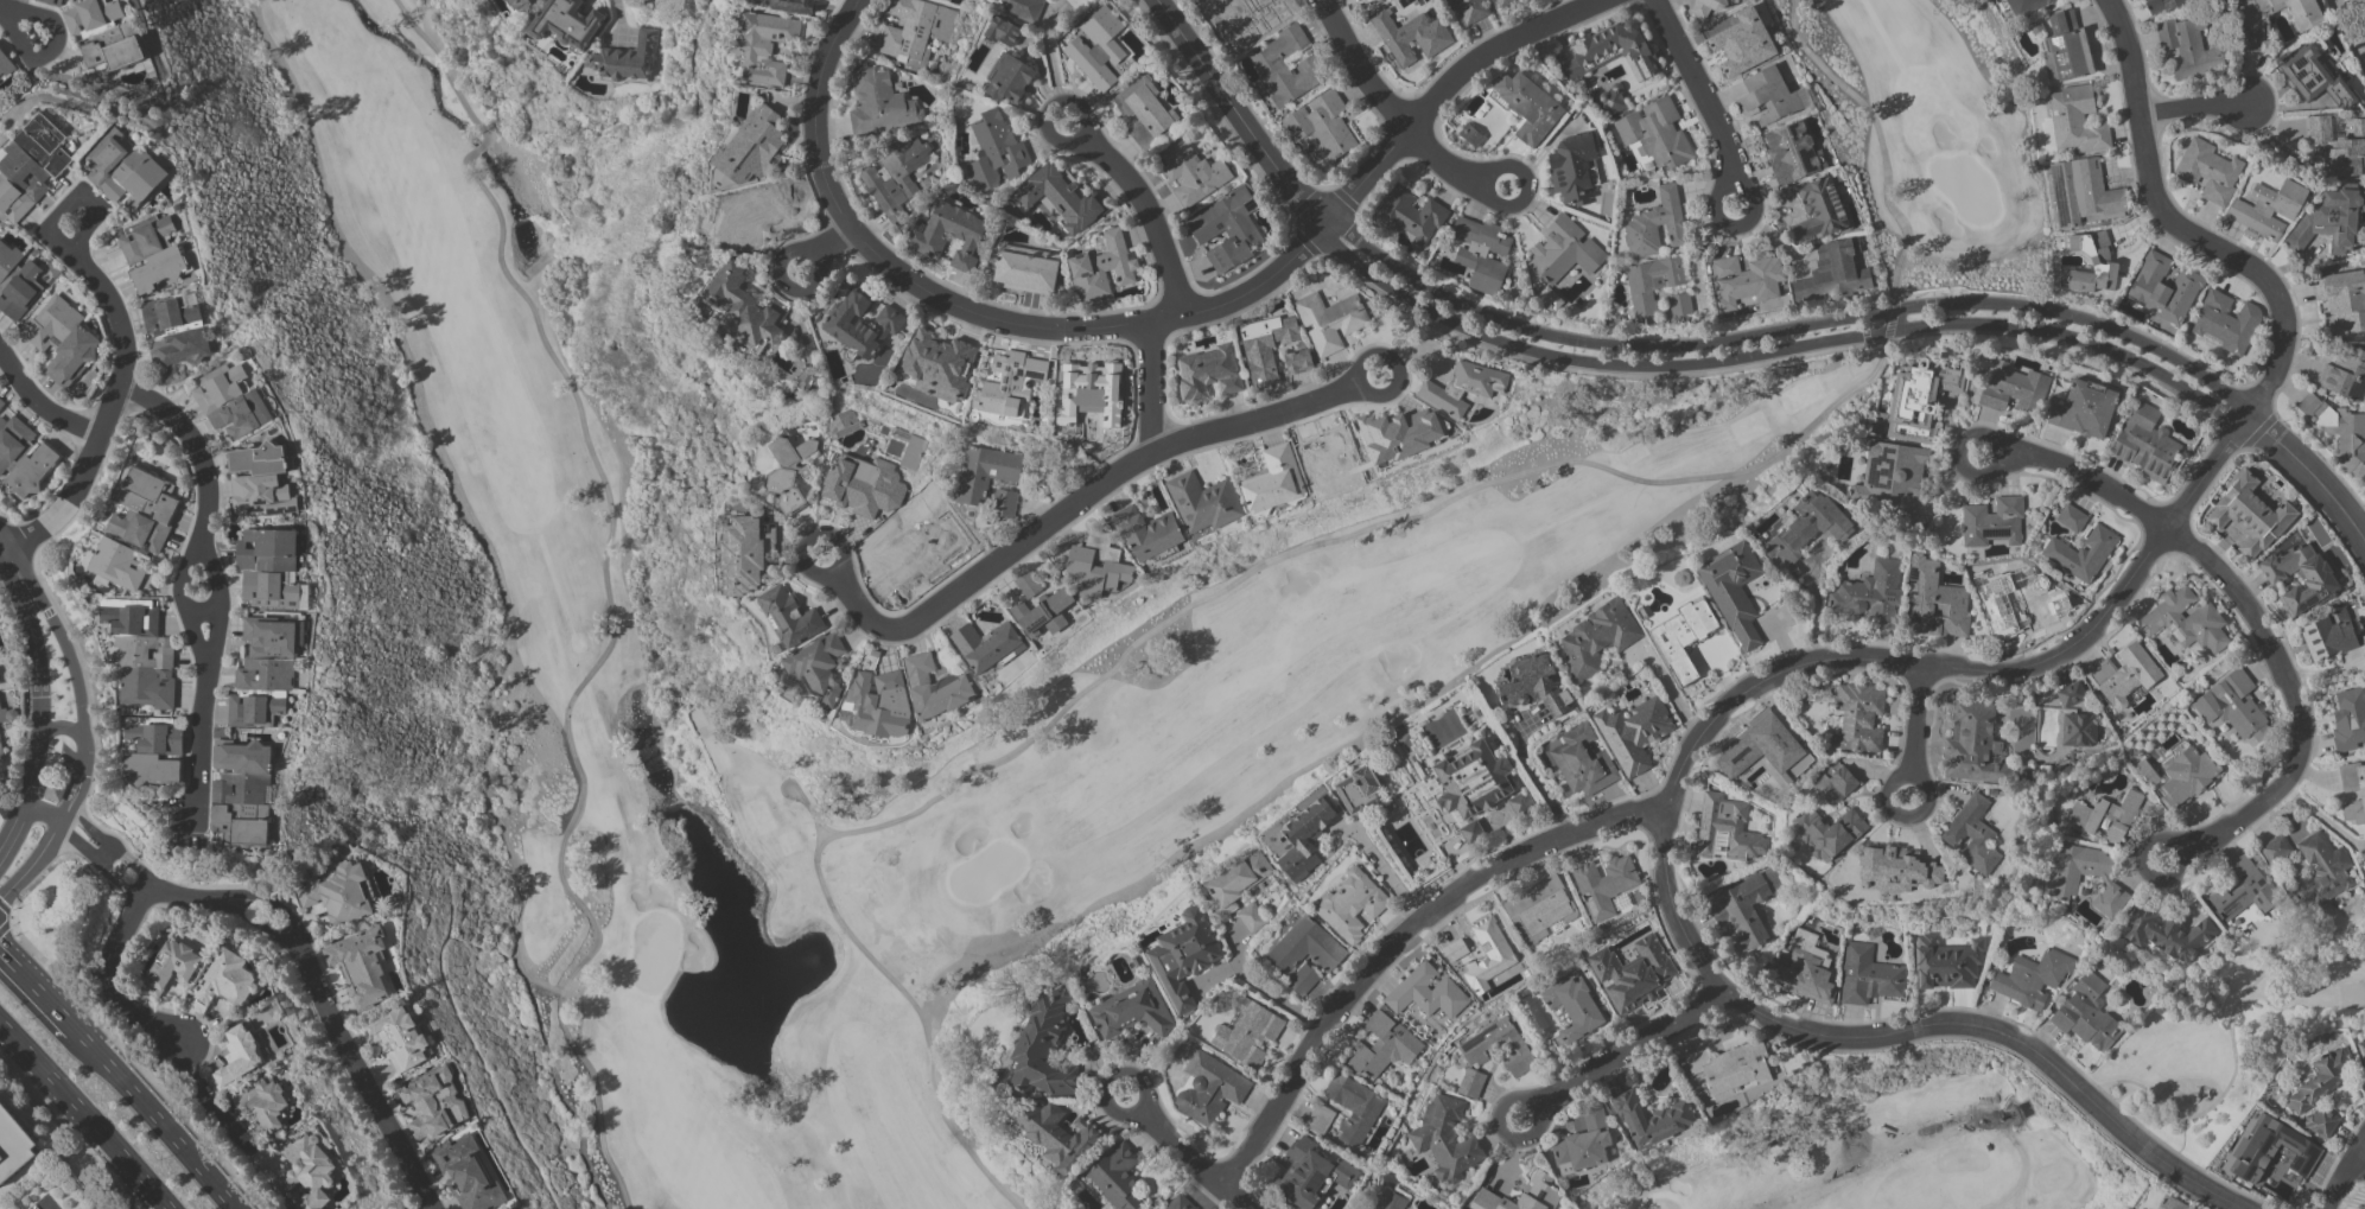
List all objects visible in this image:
building: (821, 0)
building: (1369, 0)
building: (55, 1)
building: (1502, 1)
building: (521, 4)
building: (794, 5)
building: (2159, 5)
building: (2027, 6)
building: (1024, 7)
building: (1705, 7)
building: (1469, 9)
building: (2289, 9)
road: (8, 14)
road: (18, 20)
building: (567, 21)
park: (2352, 24)
building: (915, 30)
building: (1004, 31)
building: (104, 32)
building: (1410, 34)
building: (1742, 42)
building: (765, 44)
building: (2067, 45)
building: (1098, 46)
building: (2188, 47)
building: (1614, 50)
building: (627, 57)
building: (5, 66)
road: (445, 68)
building: (1252, 74)
building: (2313, 76)
building: (1009, 77)
road: (1699, 88)
building: (1770, 96)
building: (880, 103)
road: (1396, 104)
building: (1528, 106)
road: (2193, 108)
building: (1144, 109)
road: (1049, 110)
road: (1242, 112)
road: (821, 117)
building: (2075, 120)
building: (1322, 123)
building: (1655, 132)
road: (1876, 132)
building: (2047, 133)
building: (1470, 134)
building: (2338, 144)
road: (481, 145)
building: (751, 145)
building: (994, 149)
building: (1791, 151)
building: (1572, 167)
building: (123, 170)
building: (2208, 170)
building: (1193, 173)
building: (896, 176)
road: (1488, 180)
road: (1736, 180)
building: (2091, 192)
building: (1058, 198)
road: (71, 205)
building: (1818, 209)
building: (2267, 209)
road: (1149, 215)
building: (1411, 215)
building: (2331, 218)
building: (1655, 224)
building: (1226, 229)
building: (951, 234)
road: (835, 246)
building: (1564, 249)
building: (152, 253)
building: (1481, 253)
road: (818, 255)
building: (7, 260)
building: (2092, 266)
building: (1102, 267)
building: (1833, 272)
building: (1744, 279)
road: (1267, 282)
building: (1652, 284)
building: (2162, 287)
building: (20, 289)
building: (2344, 299)
building: (1679, 305)
building: (744, 307)
building: (172, 313)
building: (1330, 320)
building: (2226, 322)
building: (862, 323)
road: (1787, 329)
building: (62, 338)
building: (1266, 345)
road: (1773, 349)
building: (179, 351)
building: (1298, 359)
building: (940, 364)
road: (1399, 368)
building: (1207, 371)
building: (2346, 371)
building: (809, 376)
building: (1009, 382)
building: (1462, 386)
road: (1149, 388)
building: (2013, 388)
building: (1091, 392)
building: (1918, 397)
building: (231, 401)
road: (43, 403)
building: (2084, 408)
road: (112, 409)
building: (840, 420)
building: (2339, 431)
building: (1398, 434)
building: (12, 438)
building: (2145, 441)
building: (913, 452)
road: (1997, 454)
building: (32, 470)
building: (789, 470)
building: (985, 471)
road: (2310, 472)
building: (1892, 475)
building: (1273, 479)
building: (259, 481)
building: (864, 484)
road: (1074, 501)
building: (1004, 502)
building: (1203, 502)
building: (144, 509)
building: (2246, 516)
building: (2071, 517)
building: (1992, 521)
building: (1807, 528)
road: (2164, 529)
building: (1147, 532)
road: (1344, 536)
road: (812, 540)
road: (4, 549)
building: (746, 553)
building: (2080, 553)
building: (116, 564)
building: (1098, 565)
building: (271, 568)
building: (2300, 575)
road: (212, 577)
building: (1028, 584)
building: (1733, 590)
park: (1371, 593)
building: (1869, 593)
road: (183, 599)
building: (2058, 599)
building: (1933, 600)
building: (1998, 606)
road: (201, 609)
building: (1043, 613)
road: (2251, 615)
building: (789, 616)
building: (2186, 621)
building: (2331, 635)
building: (1683, 637)
building: (1594, 638)
building: (987, 644)
building: (141, 653)
building: (819, 669)
building: (263, 672)
building: (2123, 673)
road: (585, 677)
road: (40, 679)
road: (76, 680)
building: (935, 686)
building: (1533, 686)
building: (2071, 693)
building: (876, 702)
building: (2232, 706)
building: (7, 713)
building: (1858, 717)
building: (2350, 718)
road: (1919, 720)
road: (64, 725)
building: (2078, 728)
building: (1633, 732)
building: (1973, 744)
building: (1761, 746)
building: (153, 752)
building: (0, 755)
building: (1583, 761)
building: (2145, 771)
building: (2187, 775)
road: (1532, 776)
road: (1912, 778)
building: (1473, 780)
building: (1835, 783)
building: (1358, 787)
building: (2353, 790)
building: (242, 791)
building: (1520, 801)
building: (2104, 816)
road: (2321, 819)
road: (13, 829)
building: (1727, 829)
building: (1827, 831)
building: (1473, 832)
building: (1971, 834)
building: (1299, 836)
building: (2275, 847)
road: (2180, 850)
road: (34, 864)
building: (1897, 867)
road: (1385, 872)
building: (1235, 880)
building: (2061, 882)
building: (1604, 883)
building: (2243, 889)
building: (339, 893)
road: (1666, 903)
building: (1350, 904)
building: (1540, 906)
building: (1746, 909)
building: (1251, 916)
building: (2167, 934)
road: (291, 937)
road: (1399, 937)
building: (1305, 947)
building: (1454, 949)
building: (1488, 954)
building: (1183, 955)
building: (1946, 962)
building: (172, 966)
building: (361, 966)
building: (1804, 966)
building: (1632, 972)
road: (106, 974)
building: (1868, 975)
building: (2032, 978)
building: (225, 980)
building: (1304, 981)
road: (42, 987)
road: (899, 988)
road: (1271, 991)
building: (1426, 992)
building: (1572, 1006)
building: (1131, 1010)
building: (2087, 1013)
building: (1247, 1031)
road: (2000, 1032)
building: (400, 1037)
road: (1617, 1041)
building: (1384, 1045)
building: (1498, 1045)
building: (1043, 1046)
building: (2361, 1050)
building: (239, 1054)
building: (1730, 1068)
building: (2321, 1078)
road: (1110, 1081)
building: (1470, 1083)
building: (1209, 1088)
road: (208, 1099)
building: (262, 1102)
building: (434, 1103)
building: (1353, 1106)
road: (1537, 1112)
road: (85, 1113)
building: (1320, 1118)
building: (1651, 1118)
road: (161, 1119)
building: (2321, 1121)
building: (1058, 1134)
building: (1445, 1138)
building: (14, 1143)
building: (1583, 1143)
park: (1877, 1150)
building: (2269, 1150)
road: (1196, 1157)
building: (310, 1171)
building: (469, 1172)
building: (1311, 1173)
building: (1118, 1178)
road: (2345, 1179)
building: (1539, 1186)
building: (1391, 1201)
building: (1178, 1202)
building: (2170, 1203)
building: (2364, 1207)

